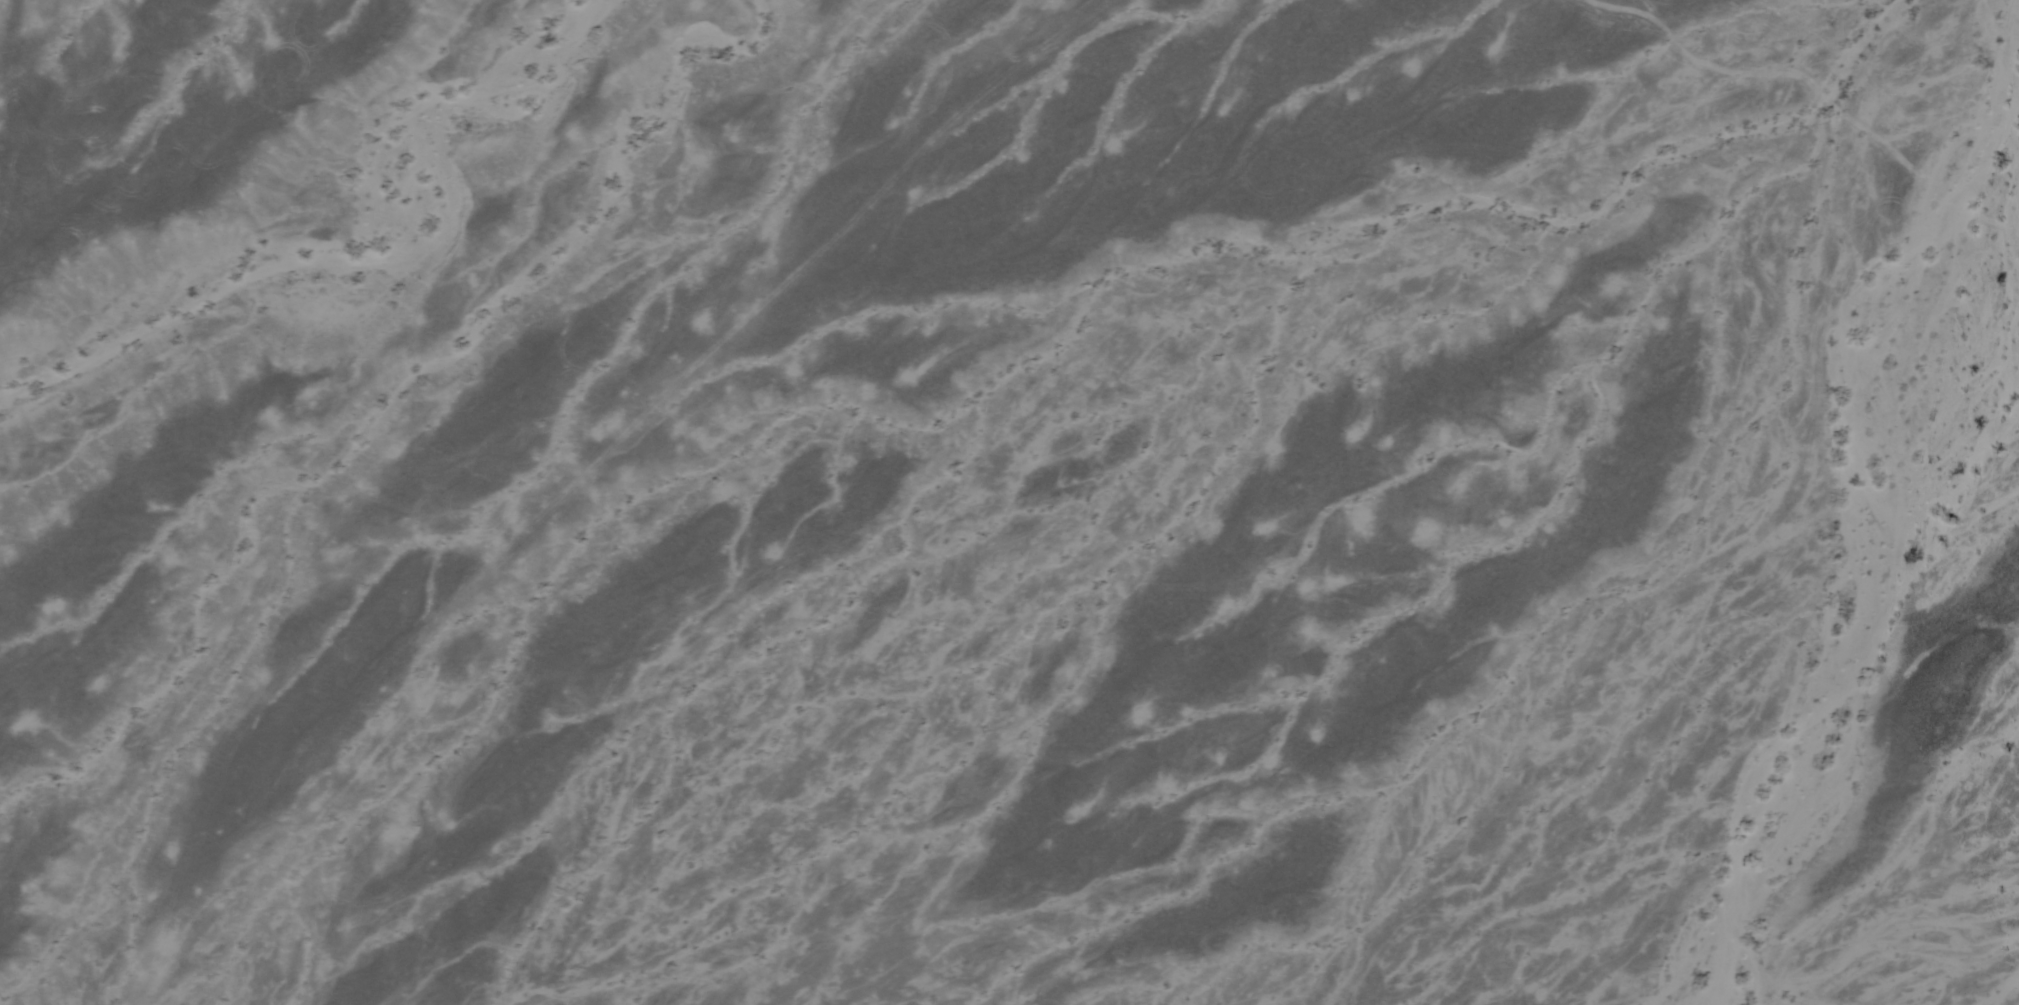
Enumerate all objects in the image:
road: (1813, 85)

